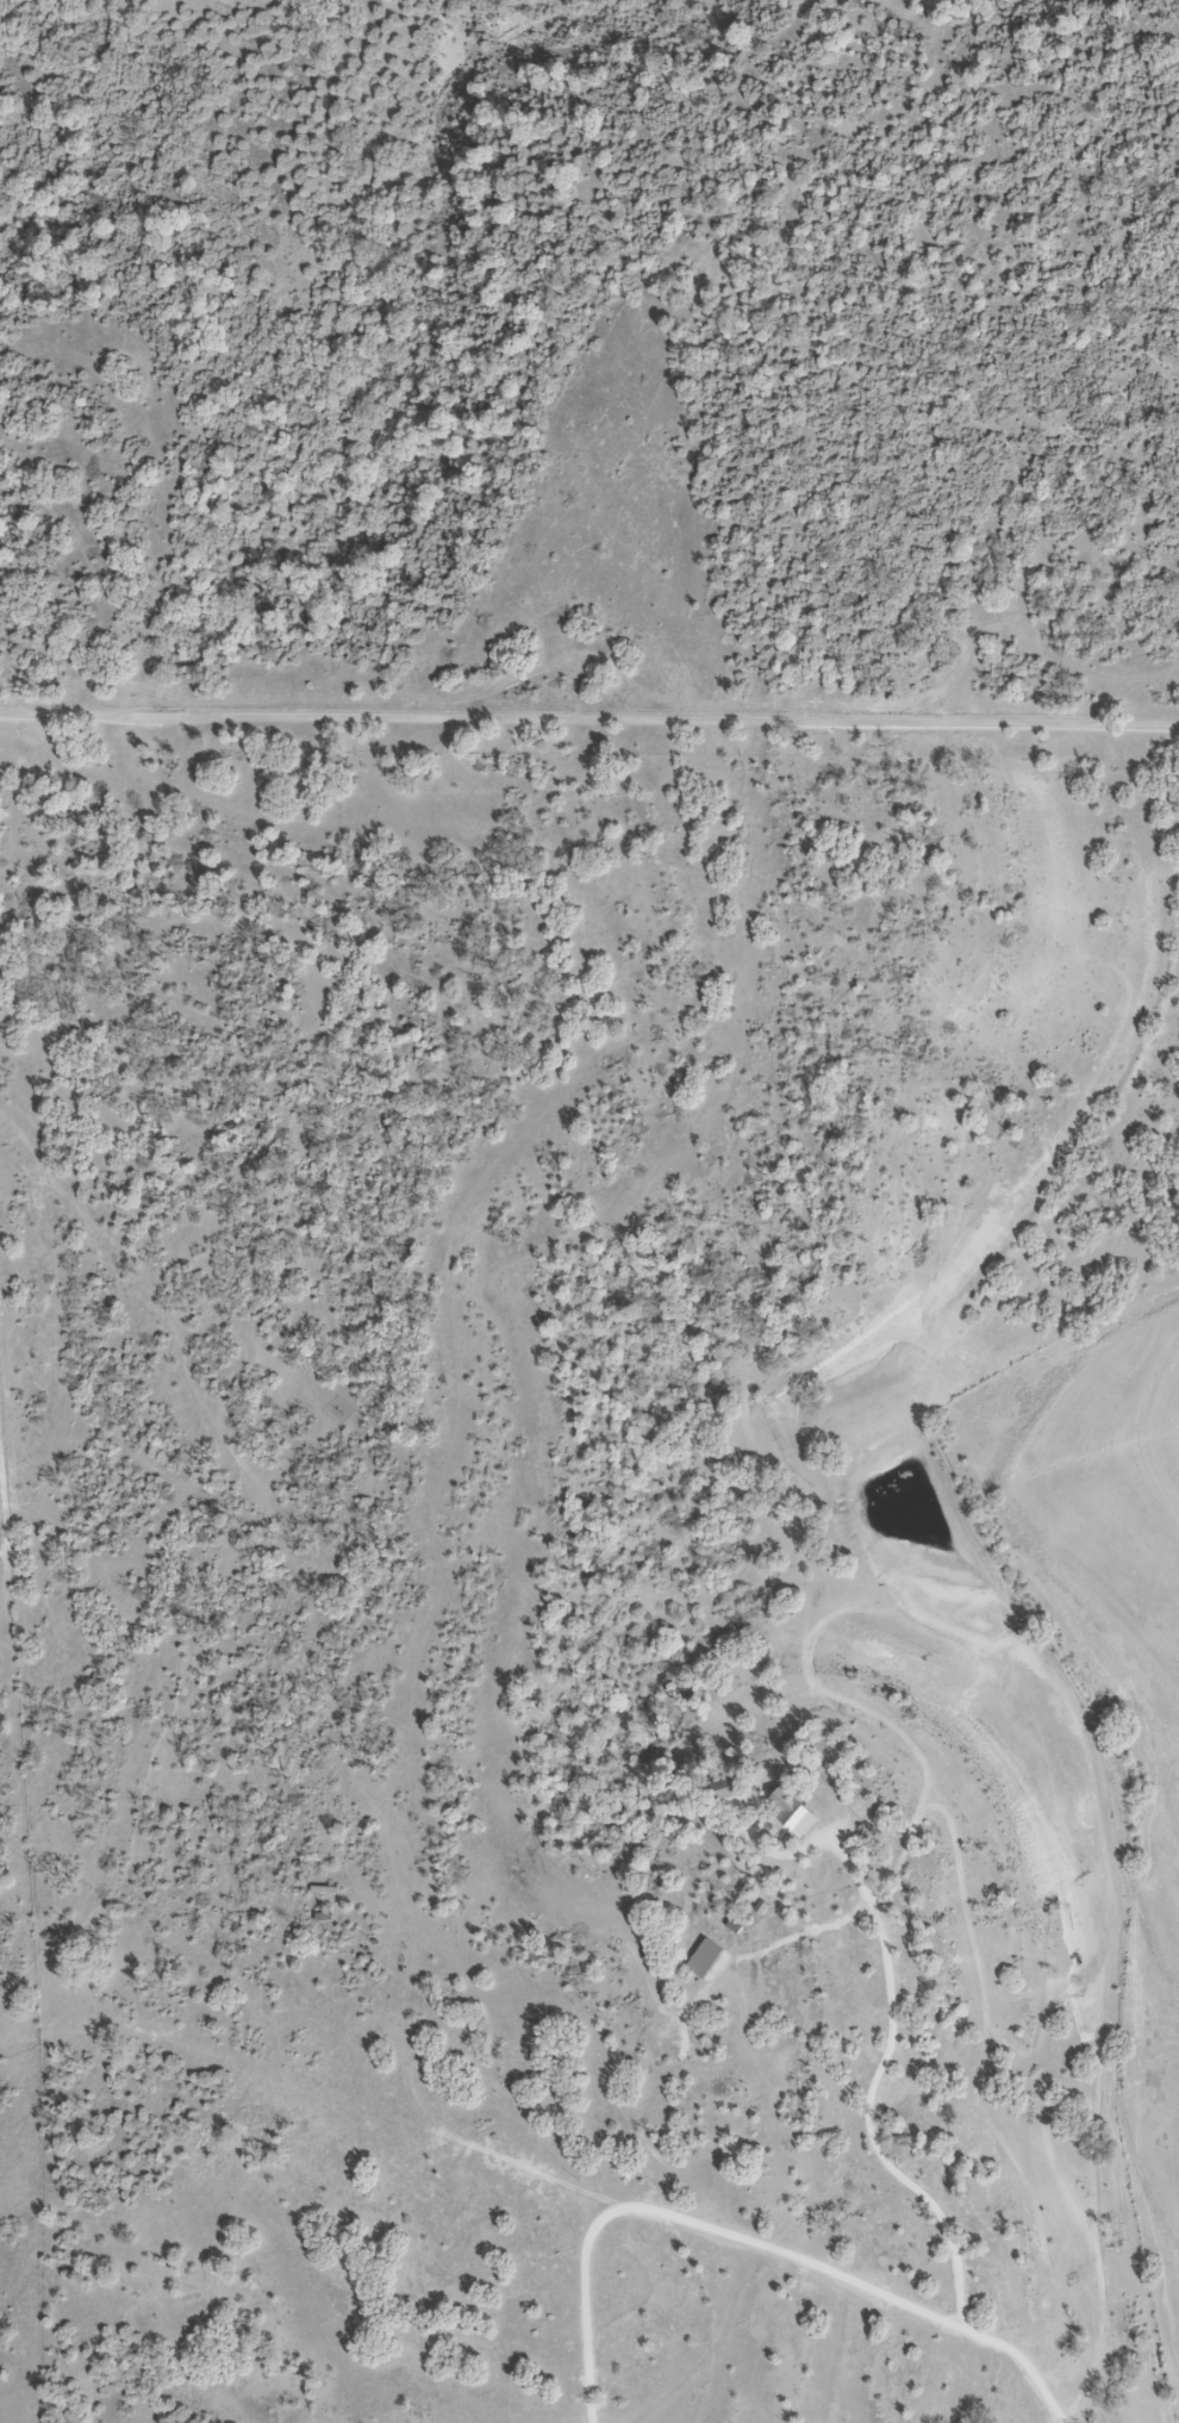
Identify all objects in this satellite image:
road: (589, 723)
building: (723, 1792)
building: (790, 1815)
road: (872, 2092)
road: (1024, 2368)

